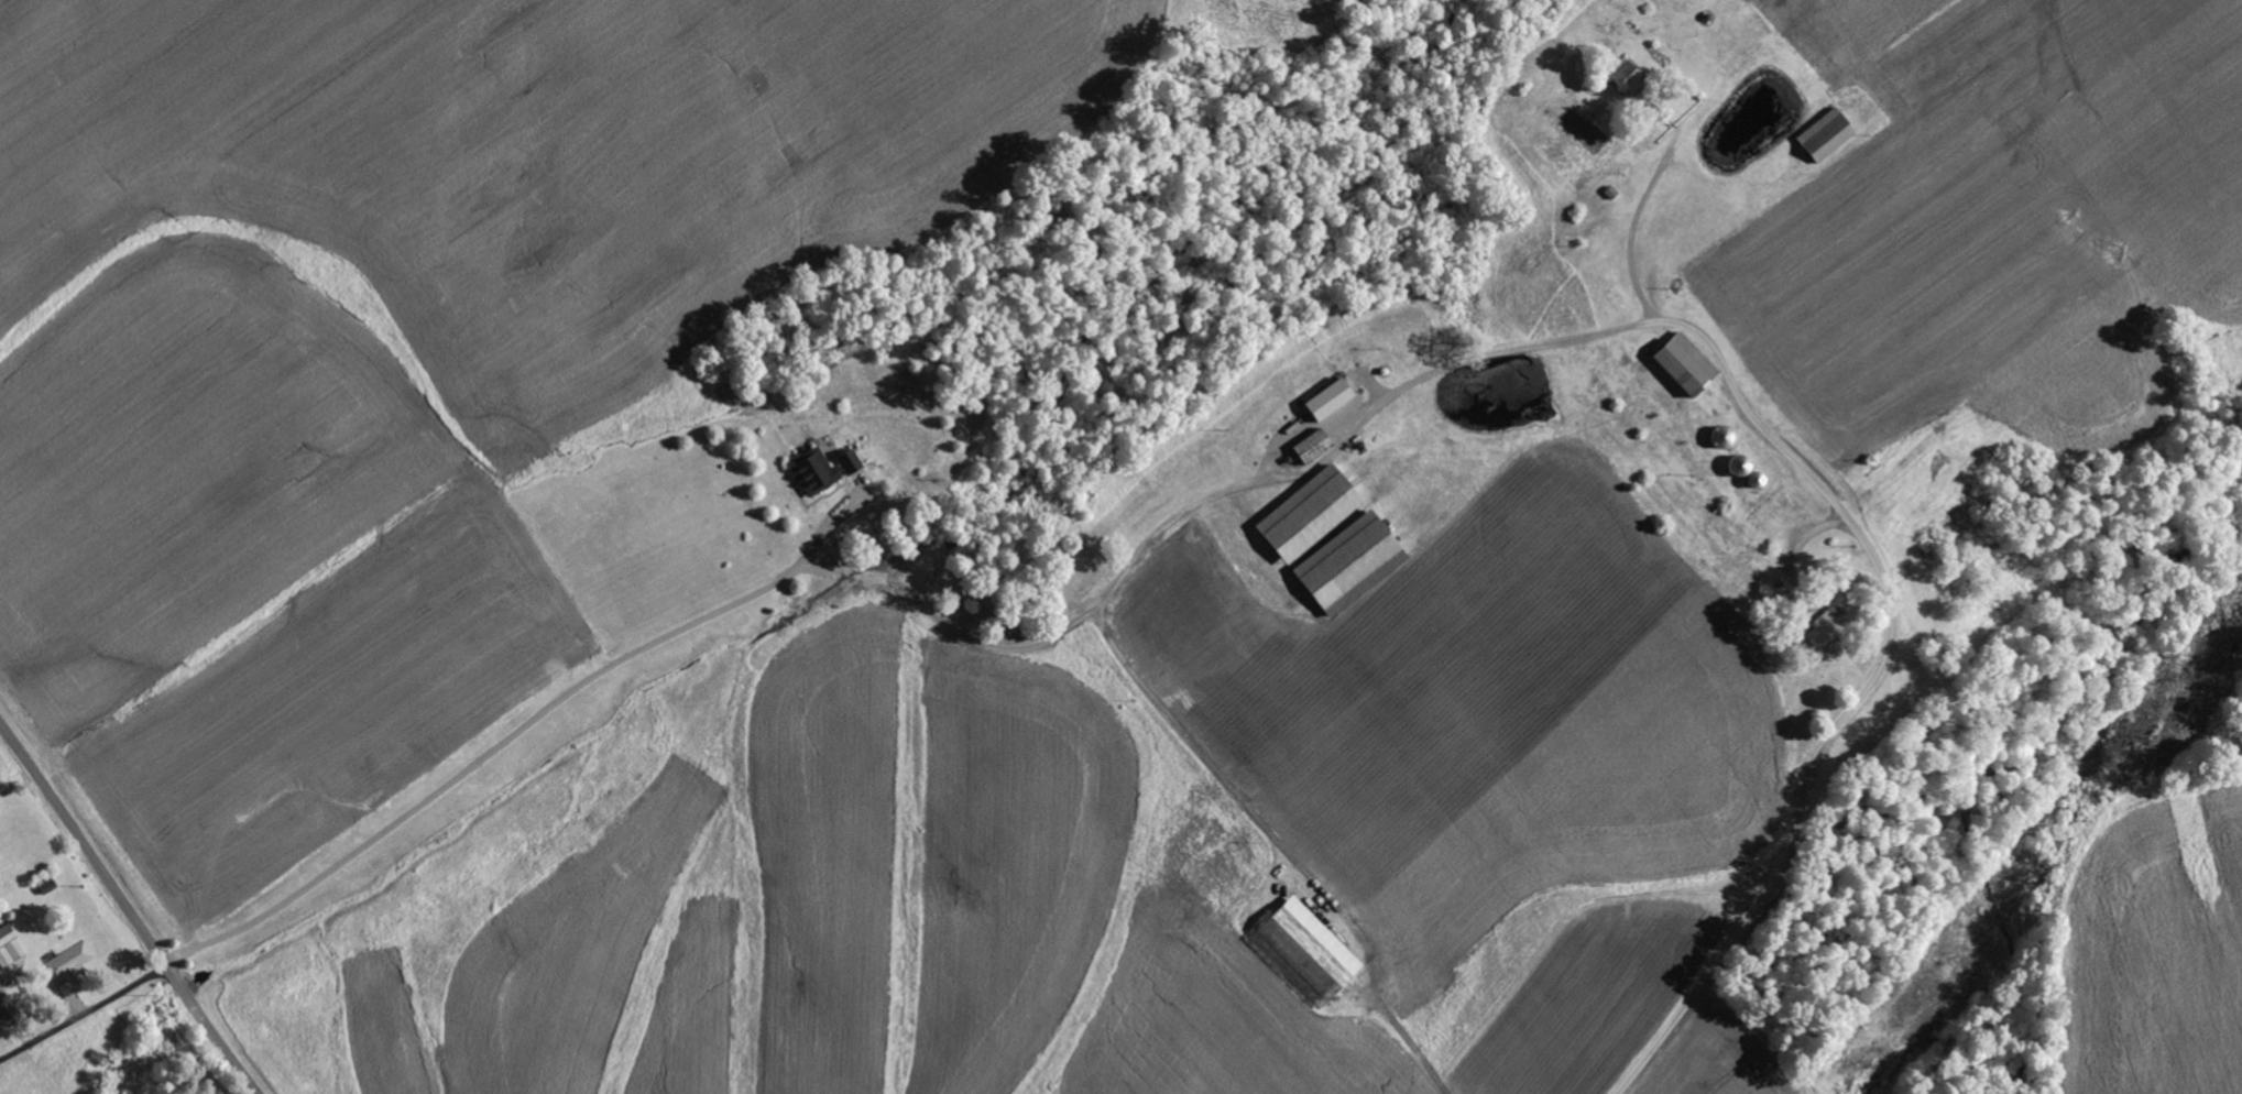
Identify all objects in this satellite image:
building: (1628, 72)
building: (1820, 135)
building: (1677, 362)
building: (1324, 400)
building: (1306, 448)
building: (853, 461)
building: (818, 470)
building: (1301, 514)
building: (1343, 564)
building: (1820, 632)
road: (1870, 677)
road: (128, 908)
building: (11, 947)
building: (1301, 950)
building: (72, 966)
road: (84, 1016)

